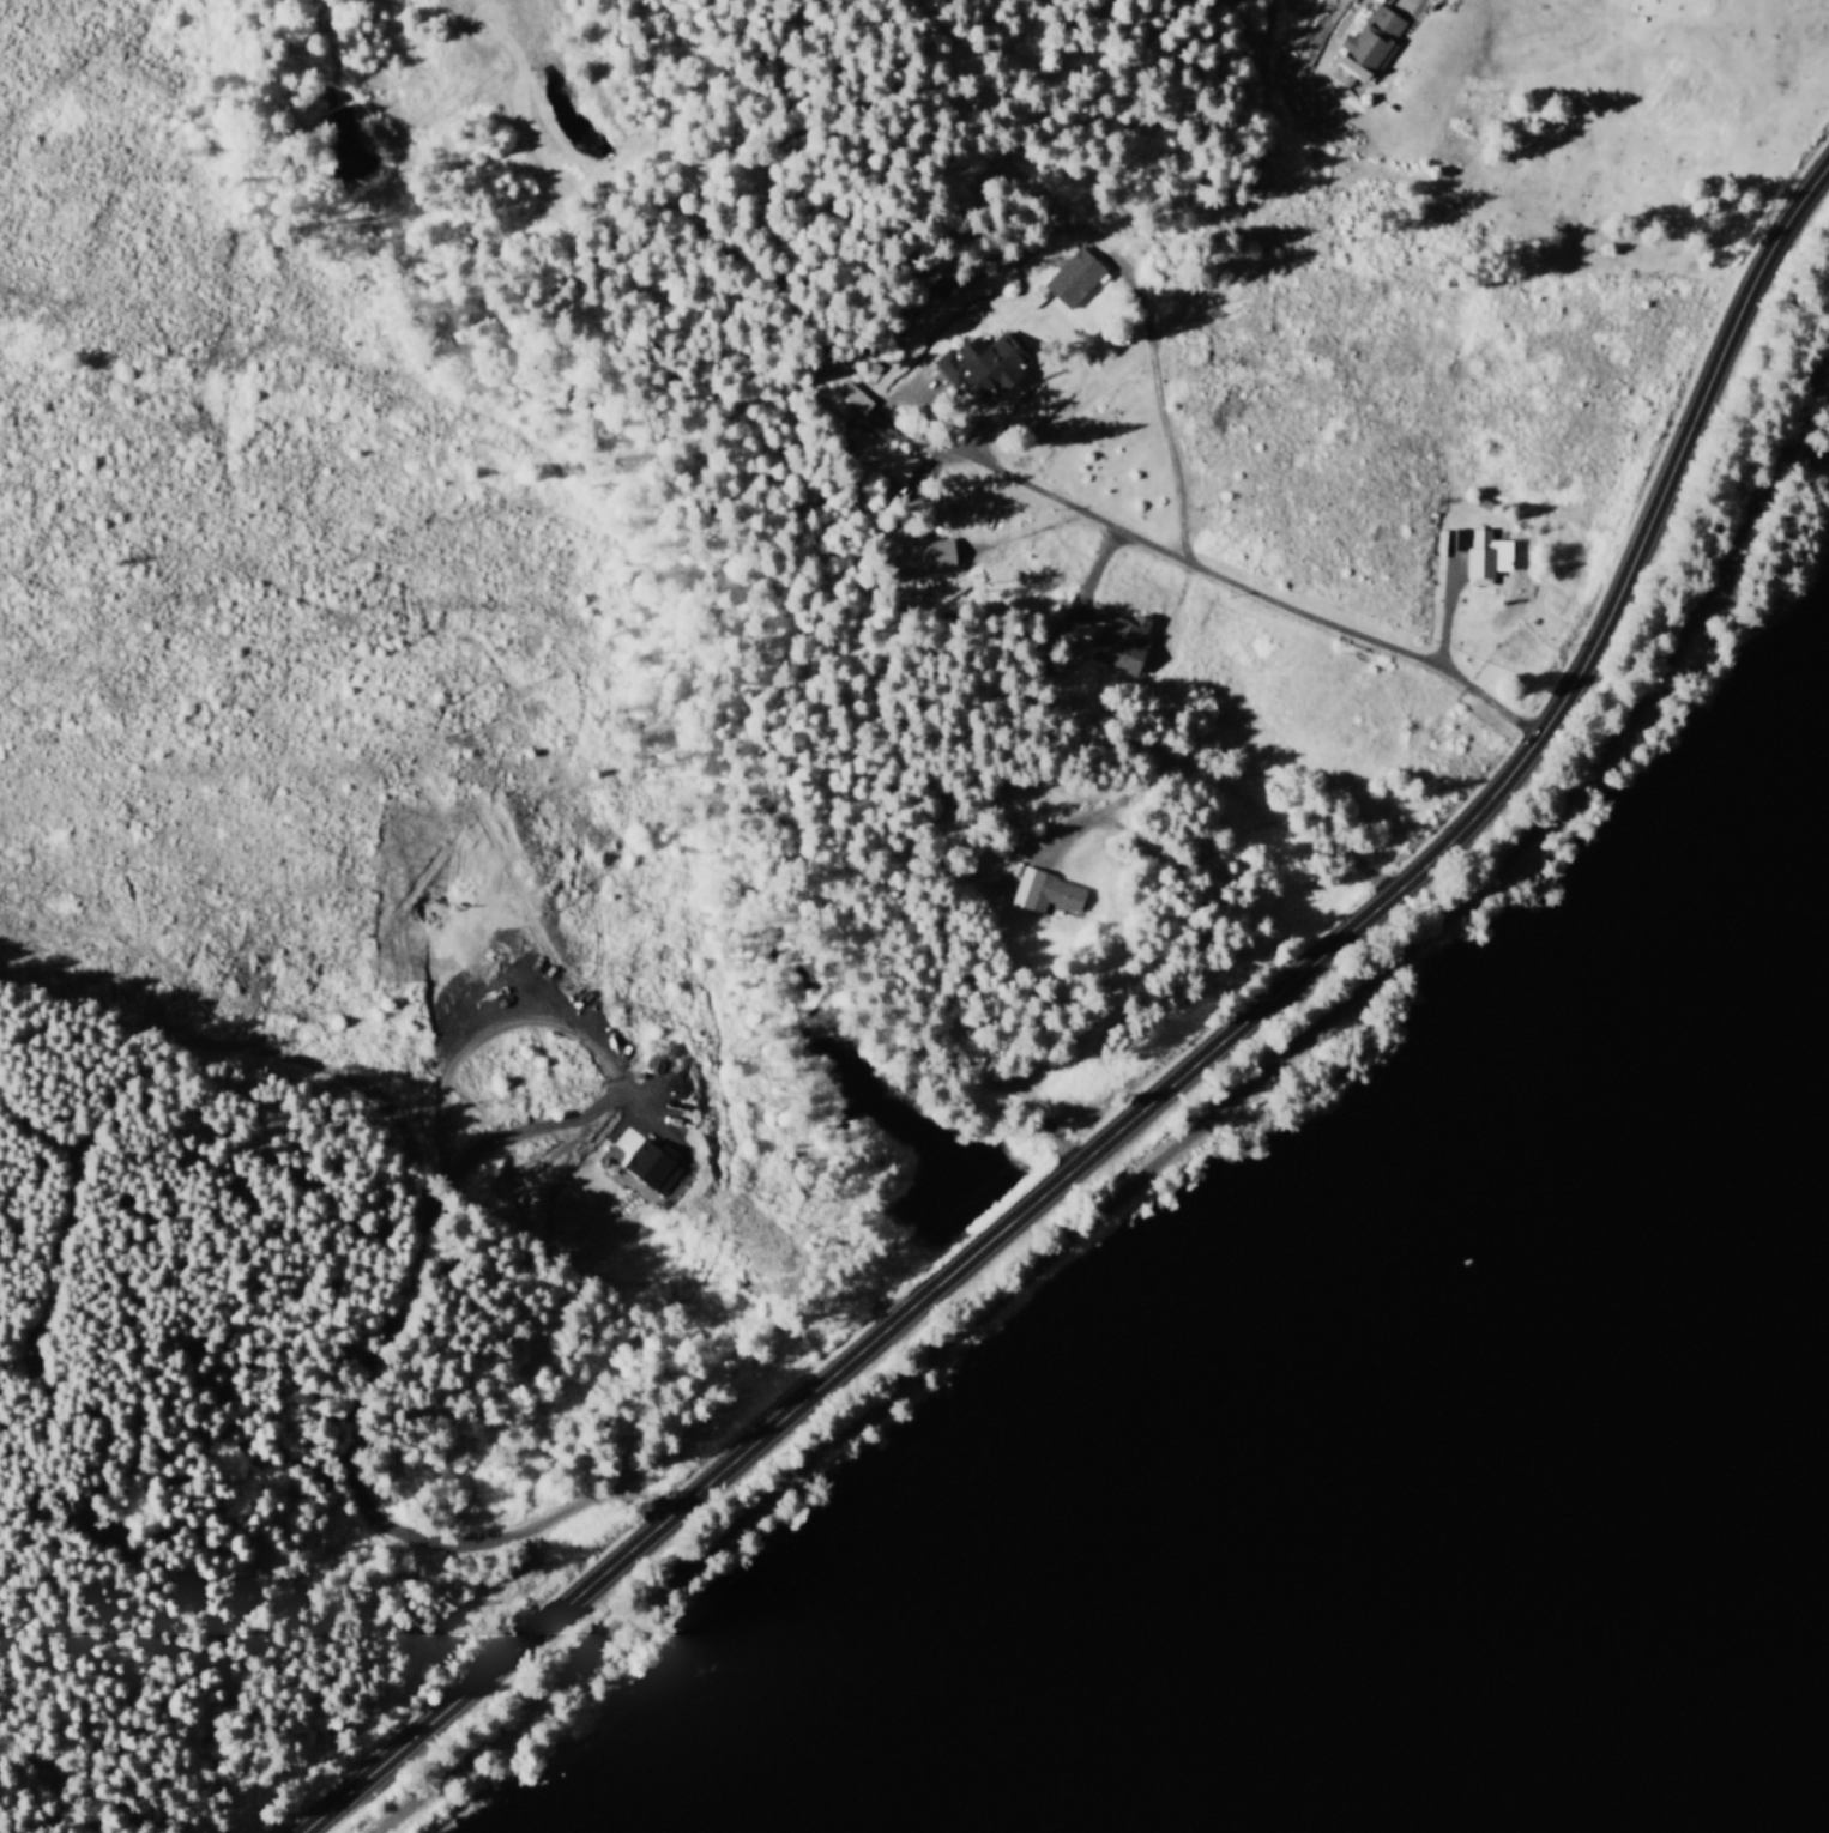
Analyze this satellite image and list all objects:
building: (1365, 42)
building: (1075, 276)
building: (984, 362)
building: (855, 395)
building: (1486, 555)
building: (928, 556)
road: (1208, 570)
building: (1123, 642)
building: (1046, 891)
road: (1176, 1081)
road: (1161, 1162)
building: (653, 1167)

